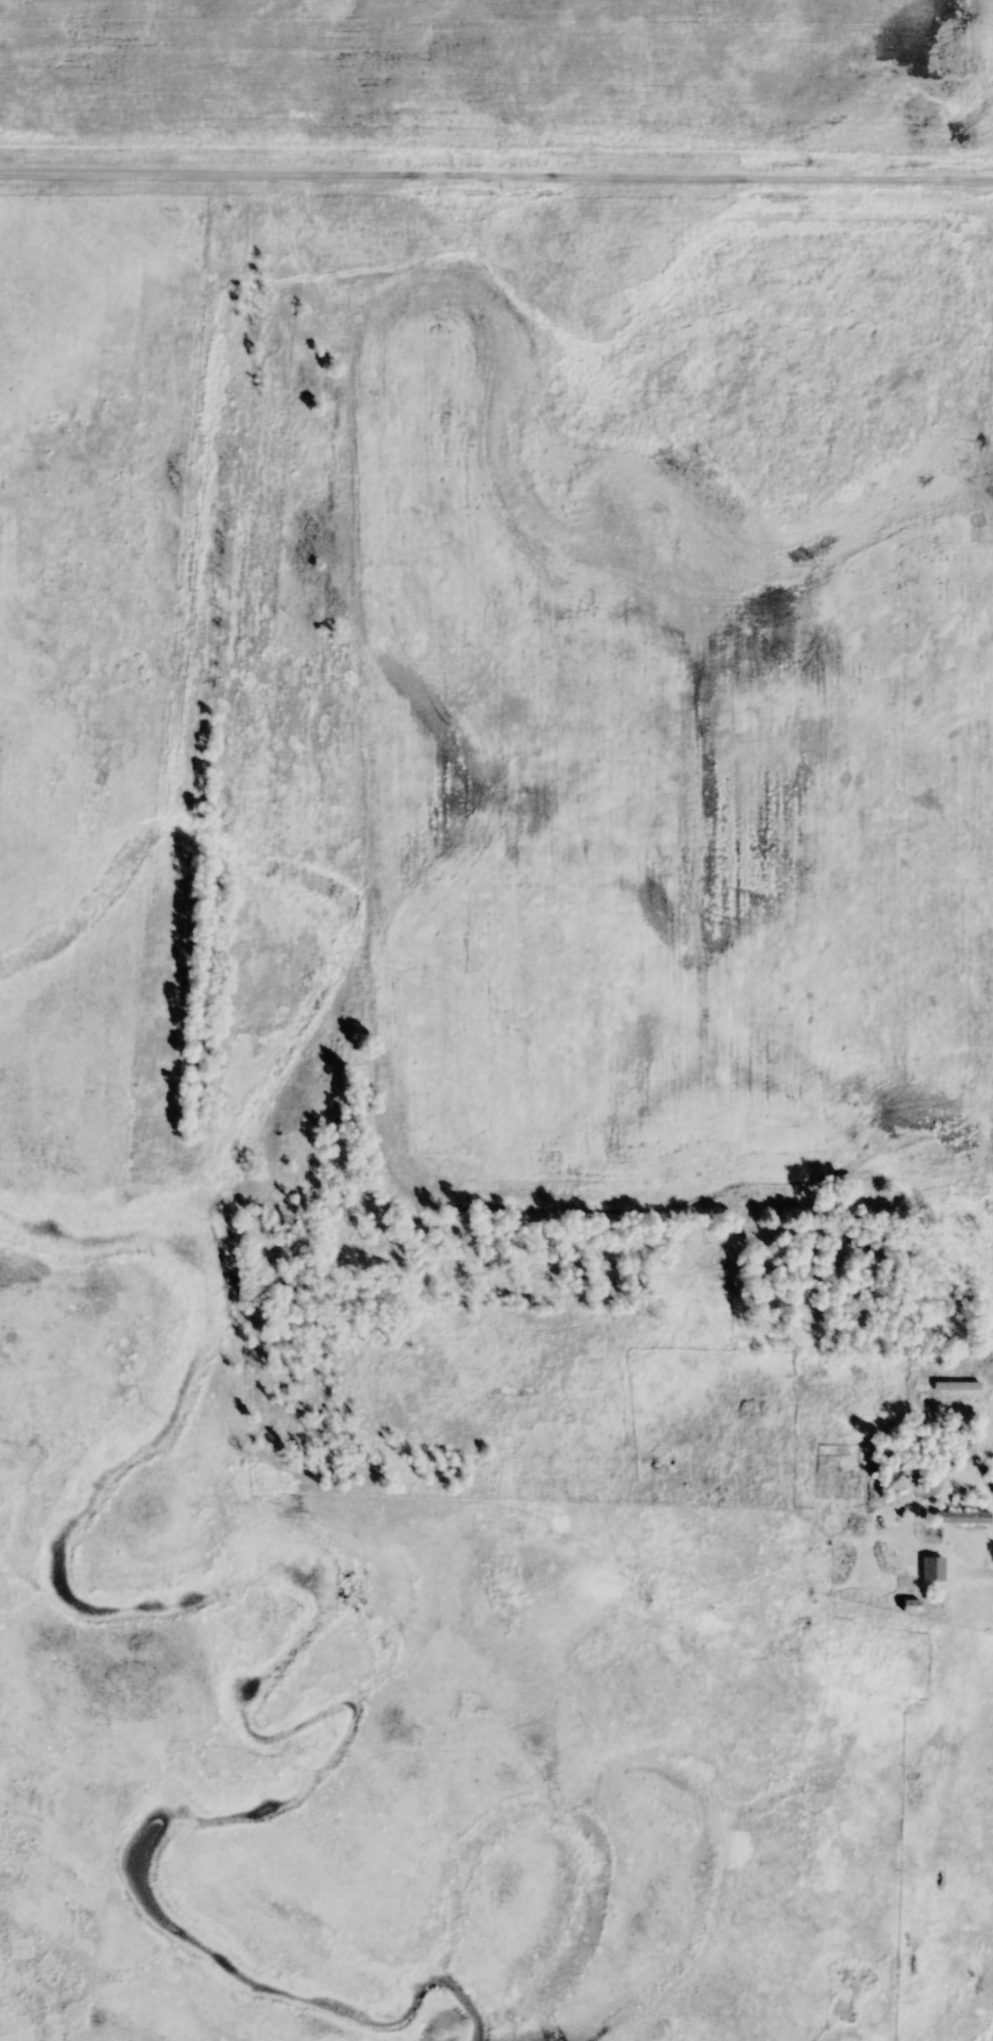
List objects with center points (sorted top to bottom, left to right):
road: (496, 179)
building: (902, 1479)
building: (850, 1486)
building: (962, 1518)
building: (929, 1538)
building: (910, 1607)

